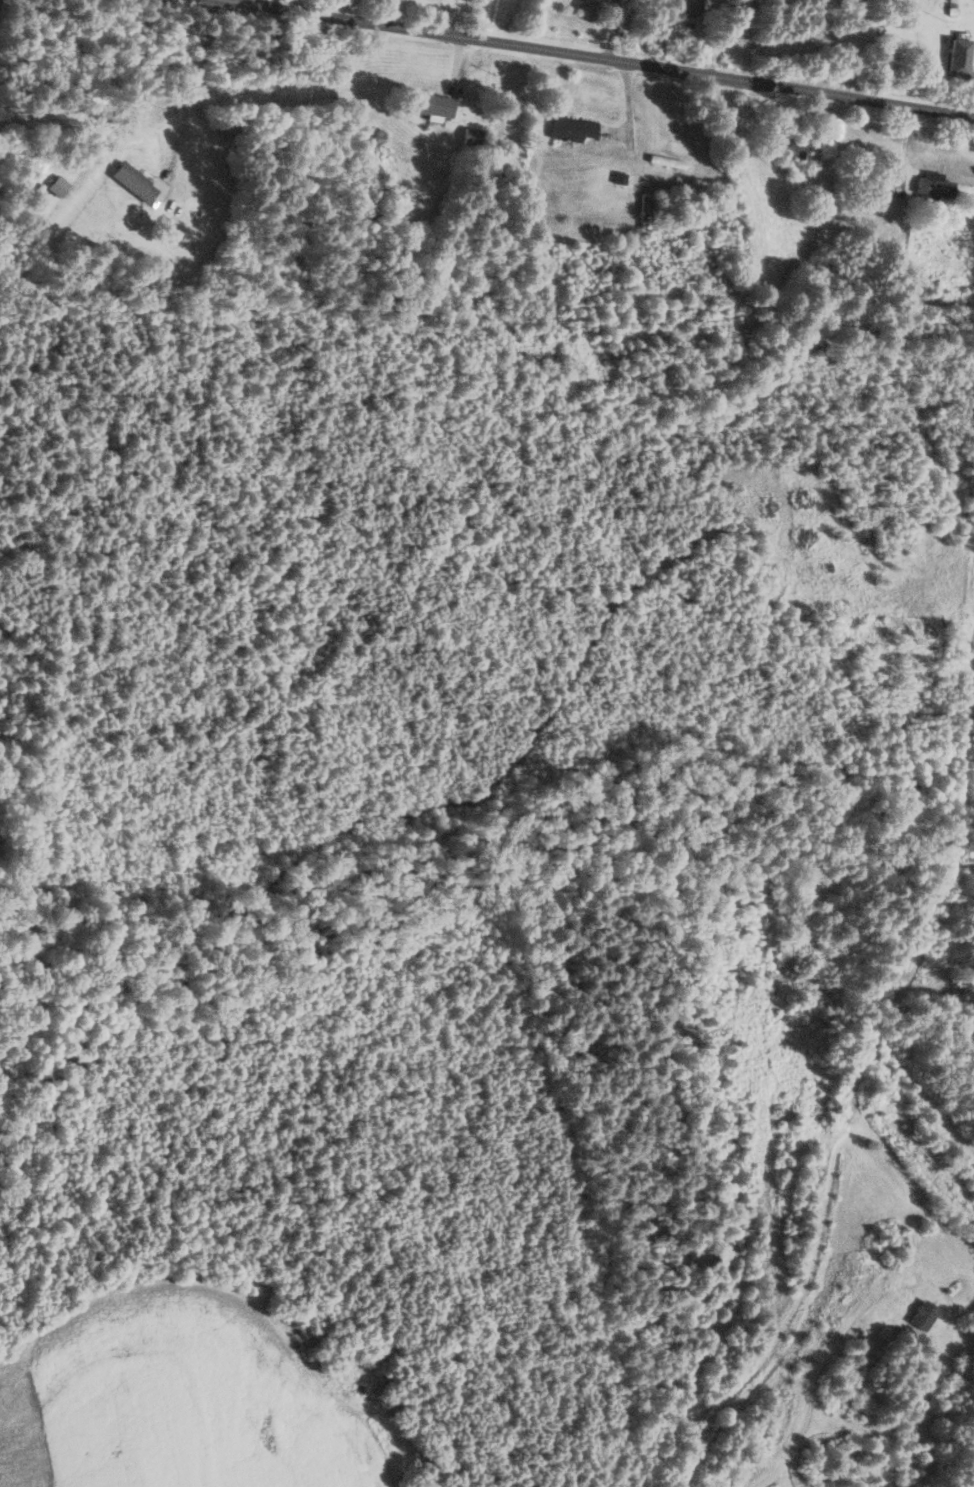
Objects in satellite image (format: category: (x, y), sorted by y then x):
road: (272, 3)
building: (696, 7)
road: (598, 57)
building: (961, 58)
building: (437, 106)
building: (733, 119)
building: (576, 131)
building: (794, 152)
building: (669, 163)
building: (893, 182)
building: (138, 184)
building: (61, 188)
building: (937, 189)
building: (646, 215)
road: (973, 678)
building: (926, 1316)
road: (787, 1327)
road: (822, 1364)

